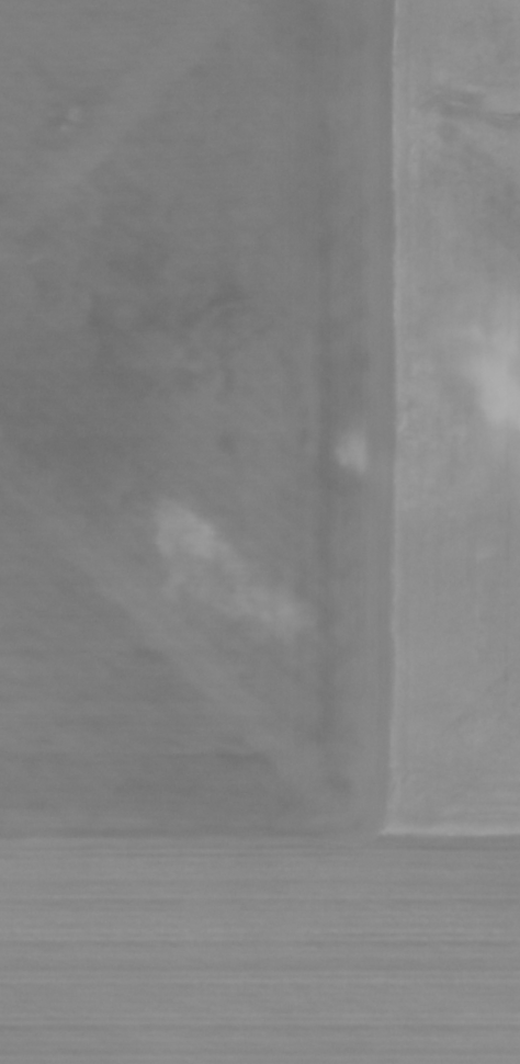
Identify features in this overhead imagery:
crop: (260, 532)

